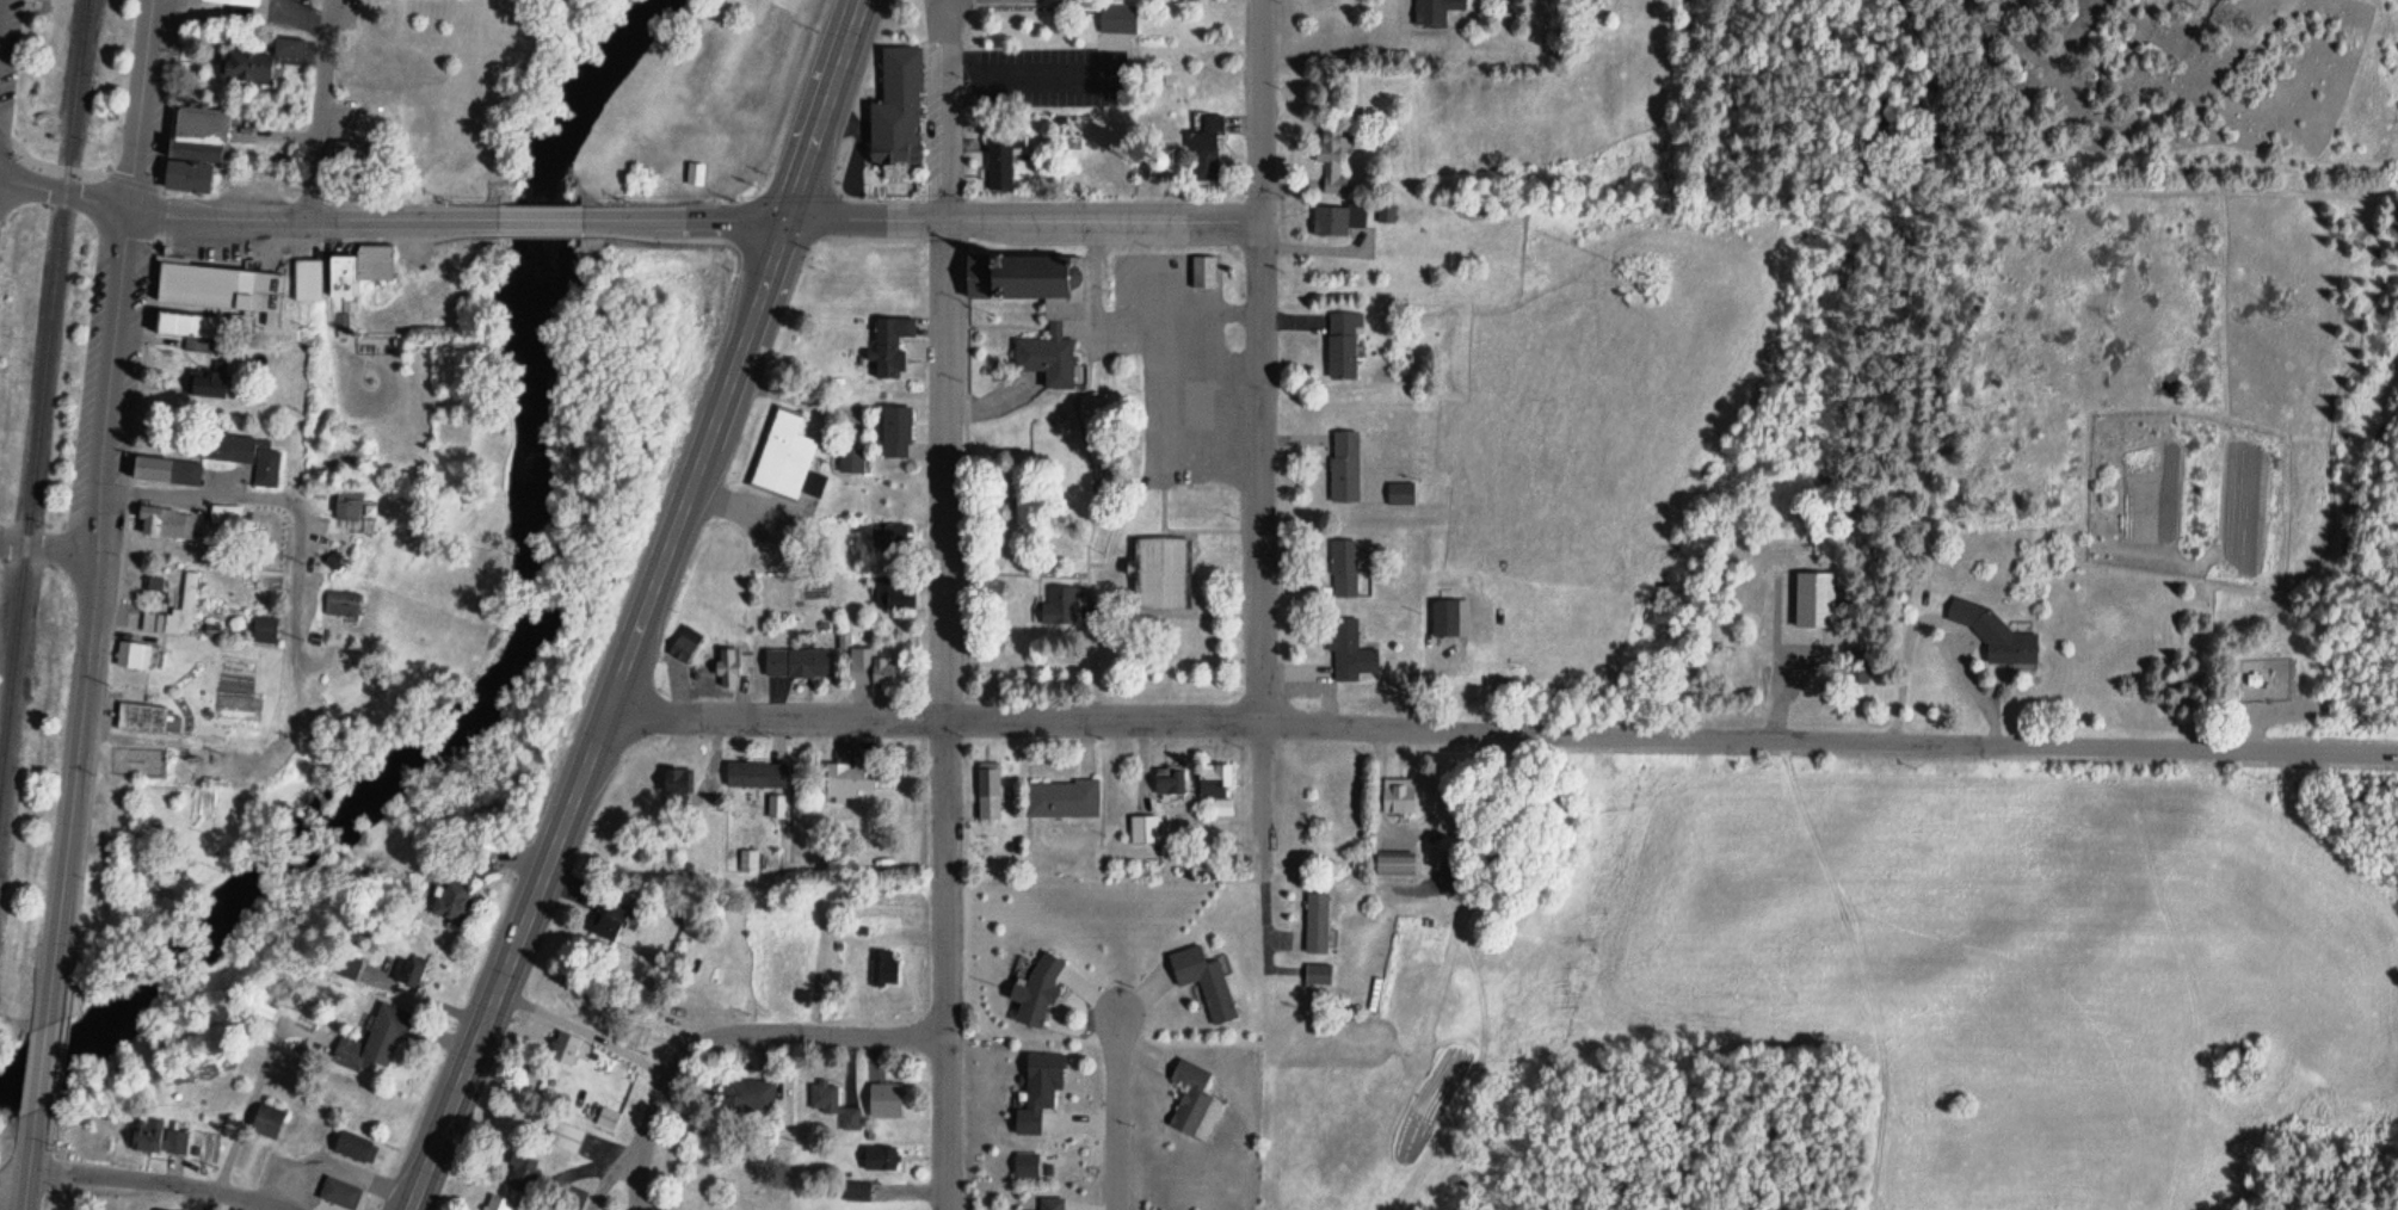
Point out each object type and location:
building: (234, 2)
building: (1435, 11)
railway: (87, 20)
building: (1112, 20)
building: (286, 38)
building: (244, 57)
road: (1024, 82)
road: (321, 110)
building: (890, 112)
building: (199, 124)
building: (1202, 147)
building: (347, 150)
building: (995, 159)
building: (1331, 159)
water tower: (1161, 160)
building: (186, 168)
building: (690, 173)
road: (66, 191)
building: (1337, 220)
road: (314, 221)
road: (541, 222)
road: (923, 223)
building: (375, 258)
building: (344, 267)
building: (1201, 267)
building: (308, 271)
building: (1028, 278)
building: (212, 292)
building: (886, 342)
building: (1342, 345)
building: (1046, 357)
building: (210, 372)
railway: (45, 387)
building: (889, 430)
road: (1260, 436)
building: (241, 444)
building: (781, 457)
building: (168, 459)
building: (845, 459)
building: (1344, 468)
building: (165, 471)
road: (195, 490)
building: (1401, 495)
building: (347, 499)
building: (899, 501)
building: (164, 510)
building: (226, 511)
road: (104, 512)
building: (899, 538)
road: (50, 548)
building: (333, 554)
building: (1161, 568)
building: (1344, 569)
building: (152, 576)
building: (189, 593)
building: (884, 594)
road: (300, 598)
building: (339, 600)
building: (1056, 601)
building: (1814, 601)
road: (937, 604)
road: (649, 610)
building: (172, 612)
building: (152, 615)
building: (1443, 618)
road: (1930, 618)
building: (263, 625)
building: (1996, 636)
building: (679, 642)
building: (132, 648)
river: (531, 648)
building: (1349, 653)
building: (793, 661)
building: (722, 666)
building: (871, 666)
building: (1857, 668)
building: (2255, 680)
power substation: (2261, 680)
building: (140, 710)
road: (1505, 728)
building: (750, 774)
building: (1169, 776)
building: (844, 778)
building: (671, 779)
building: (1215, 779)
building: (1400, 784)
building: (982, 788)
building: (1059, 795)
building: (770, 804)
building: (1142, 822)
building: (744, 860)
building: (754, 864)
building: (450, 897)
building: (1318, 912)
building: (604, 914)
road: (1263, 916)
building: (710, 926)
building: (344, 963)
building: (1320, 964)
building: (409, 968)
building: (876, 968)
building: (1204, 969)
building: (1317, 976)
building: (1034, 984)
road: (579, 1030)
building: (374, 1033)
road: (794, 1038)
building: (565, 1043)
road: (44, 1068)
building: (1037, 1081)
building: (1191, 1085)
building: (746, 1094)
building: (881, 1098)
building: (827, 1101)
road: (241, 1113)
building: (604, 1113)
road: (1118, 1113)
building: (261, 1117)
building: (563, 1131)
building: (155, 1135)
road: (636, 1138)
building: (352, 1142)
building: (875, 1153)
building: (1025, 1157)
road: (33, 1160)
road: (333, 1167)
building: (523, 1167)
road: (604, 1177)
road: (155, 1183)
building: (852, 1187)
building: (337, 1189)
building: (572, 1193)
road: (206, 1199)
building: (1044, 1200)
building: (497, 1204)
building: (540, 1205)
building: (164, 1208)

